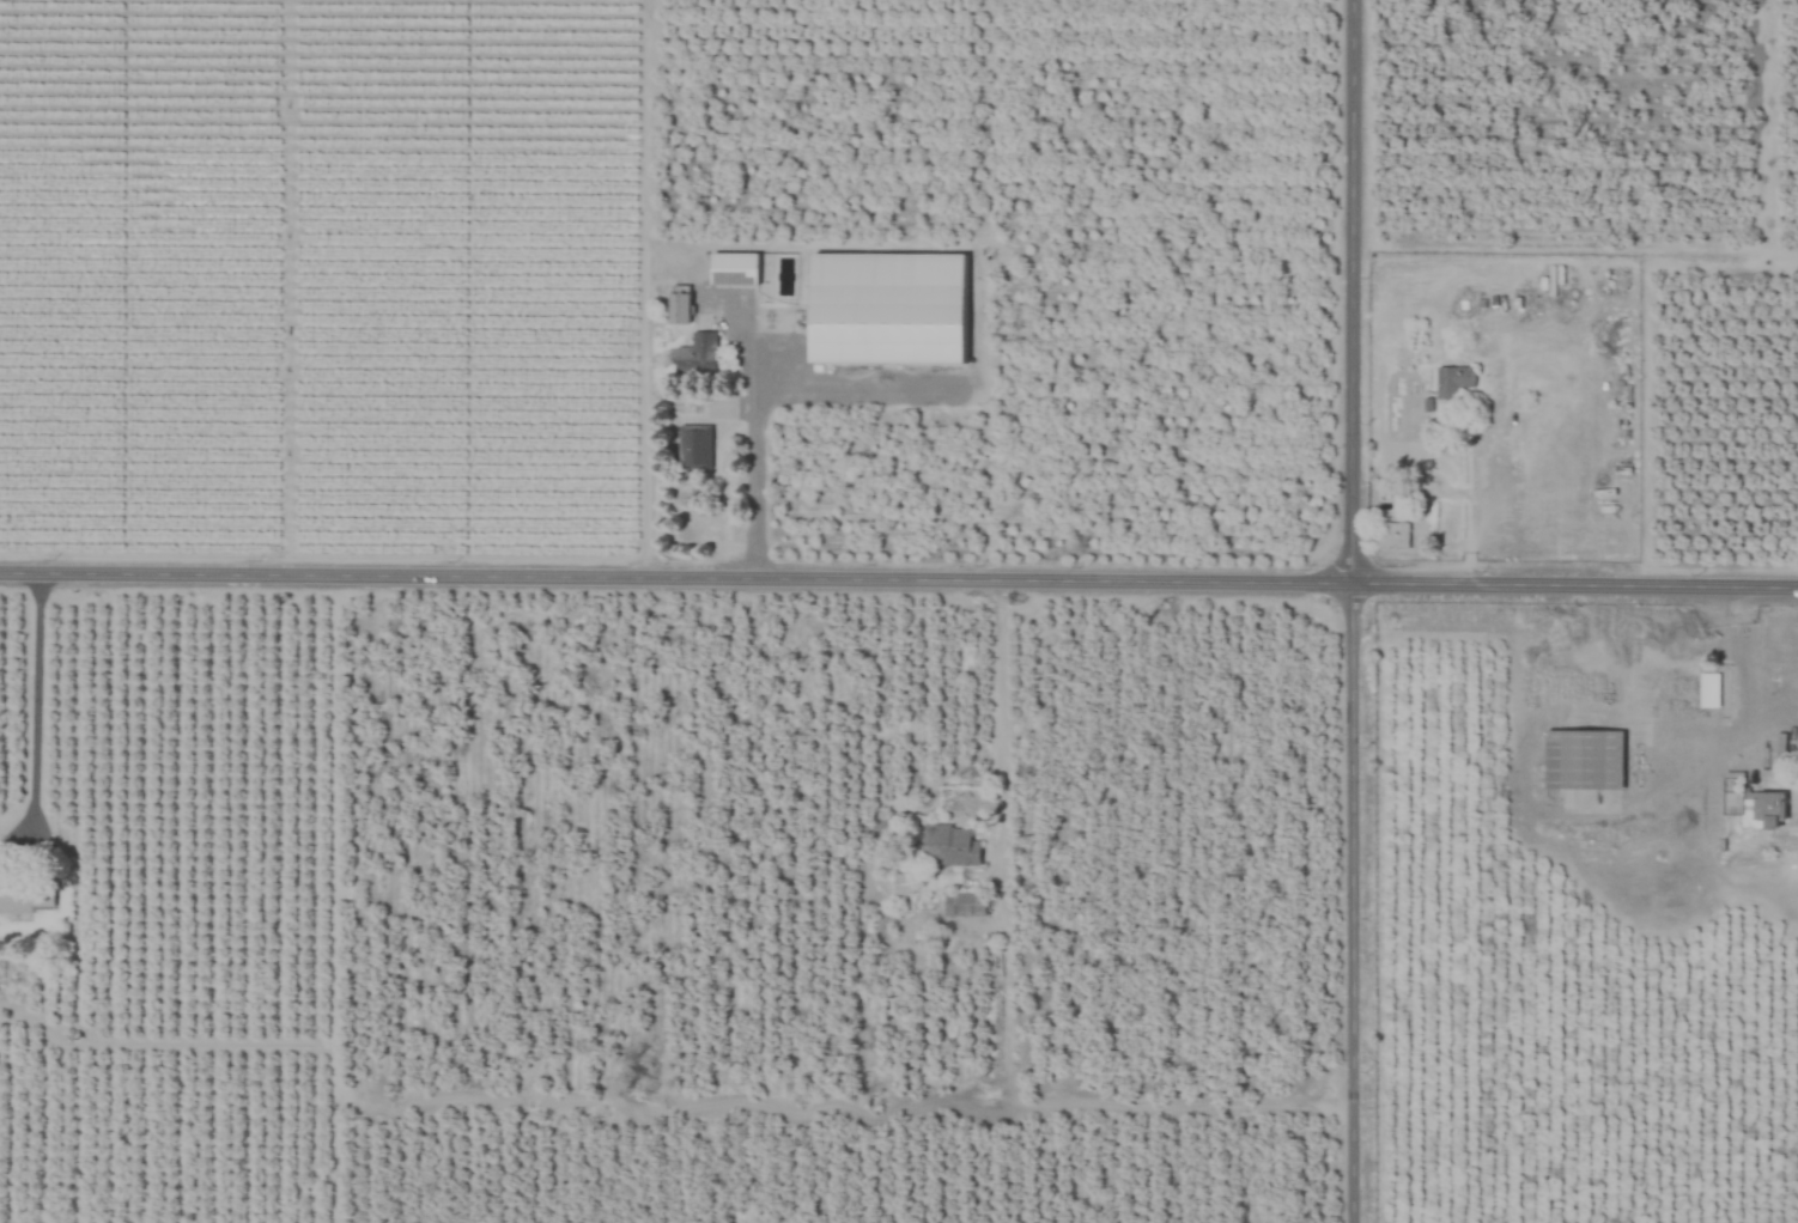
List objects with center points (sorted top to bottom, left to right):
building: (734, 269)
road: (643, 287)
building: (680, 309)
building: (888, 309)
building: (698, 357)
building: (1452, 382)
building: (693, 446)
road: (753, 455)
building: (1392, 536)
road: (899, 577)
road: (1349, 610)
building: (1708, 689)
road: (34, 716)
road: (996, 734)
building: (1584, 759)
building: (1731, 799)
building: (1764, 809)
building: (944, 845)
building: (26, 896)

